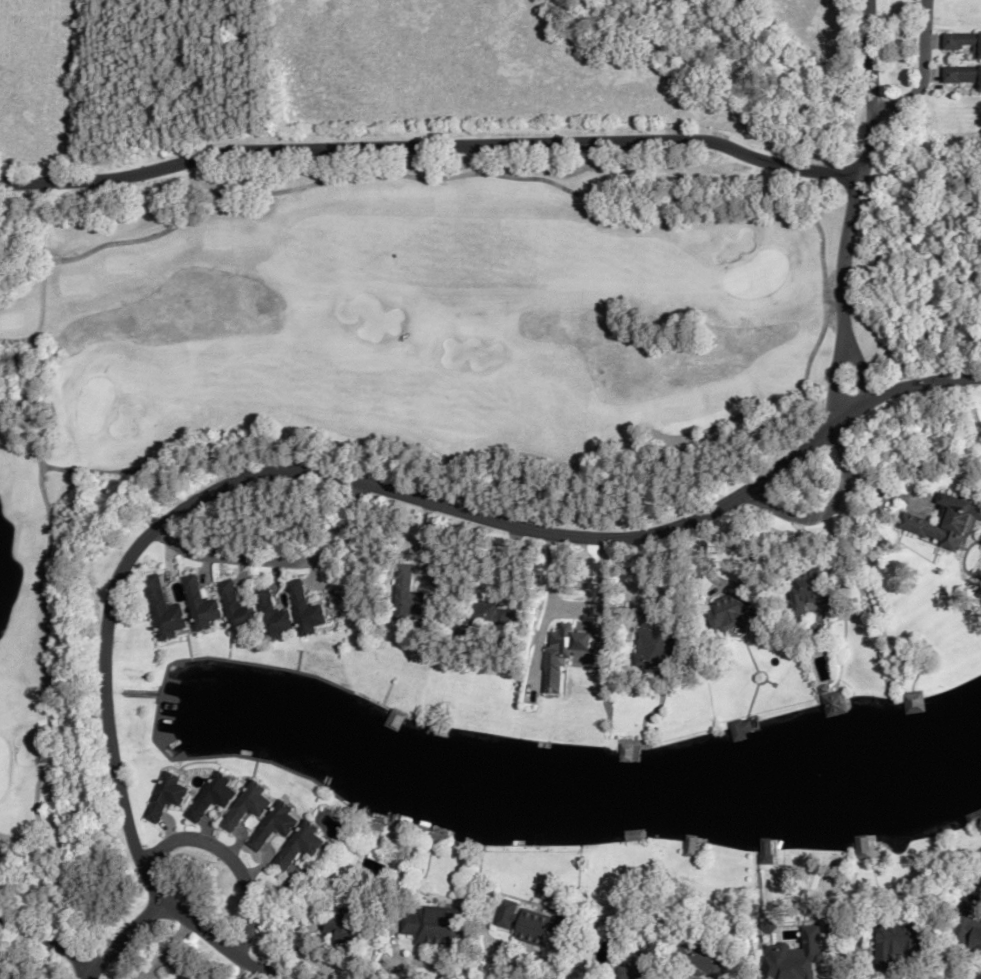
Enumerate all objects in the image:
building: (964, 41)
road: (927, 72)
building: (962, 73)
road: (431, 145)
road: (860, 174)
road: (855, 357)
building: (12, 359)
road: (870, 382)
road: (834, 385)
road: (321, 472)
road: (830, 508)
building: (944, 522)
road: (277, 560)
building: (806, 589)
building: (407, 592)
building: (920, 600)
building: (200, 603)
building: (165, 608)
building: (236, 608)
building: (304, 609)
building: (730, 611)
building: (273, 614)
building: (478, 616)
building: (659, 639)
building: (913, 703)
building: (834, 704)
building: (740, 728)
building: (626, 753)
building: (166, 796)
building: (212, 798)
building: (248, 805)
building: (973, 818)
building: (274, 825)
building: (301, 845)
building: (693, 845)
building: (861, 846)
road: (232, 859)
building: (531, 923)
building: (345, 926)
building: (435, 926)
building: (967, 926)
road: (125, 936)
road: (49, 940)
building: (897, 941)
building: (697, 960)
building: (638, 967)
building: (159, 978)

